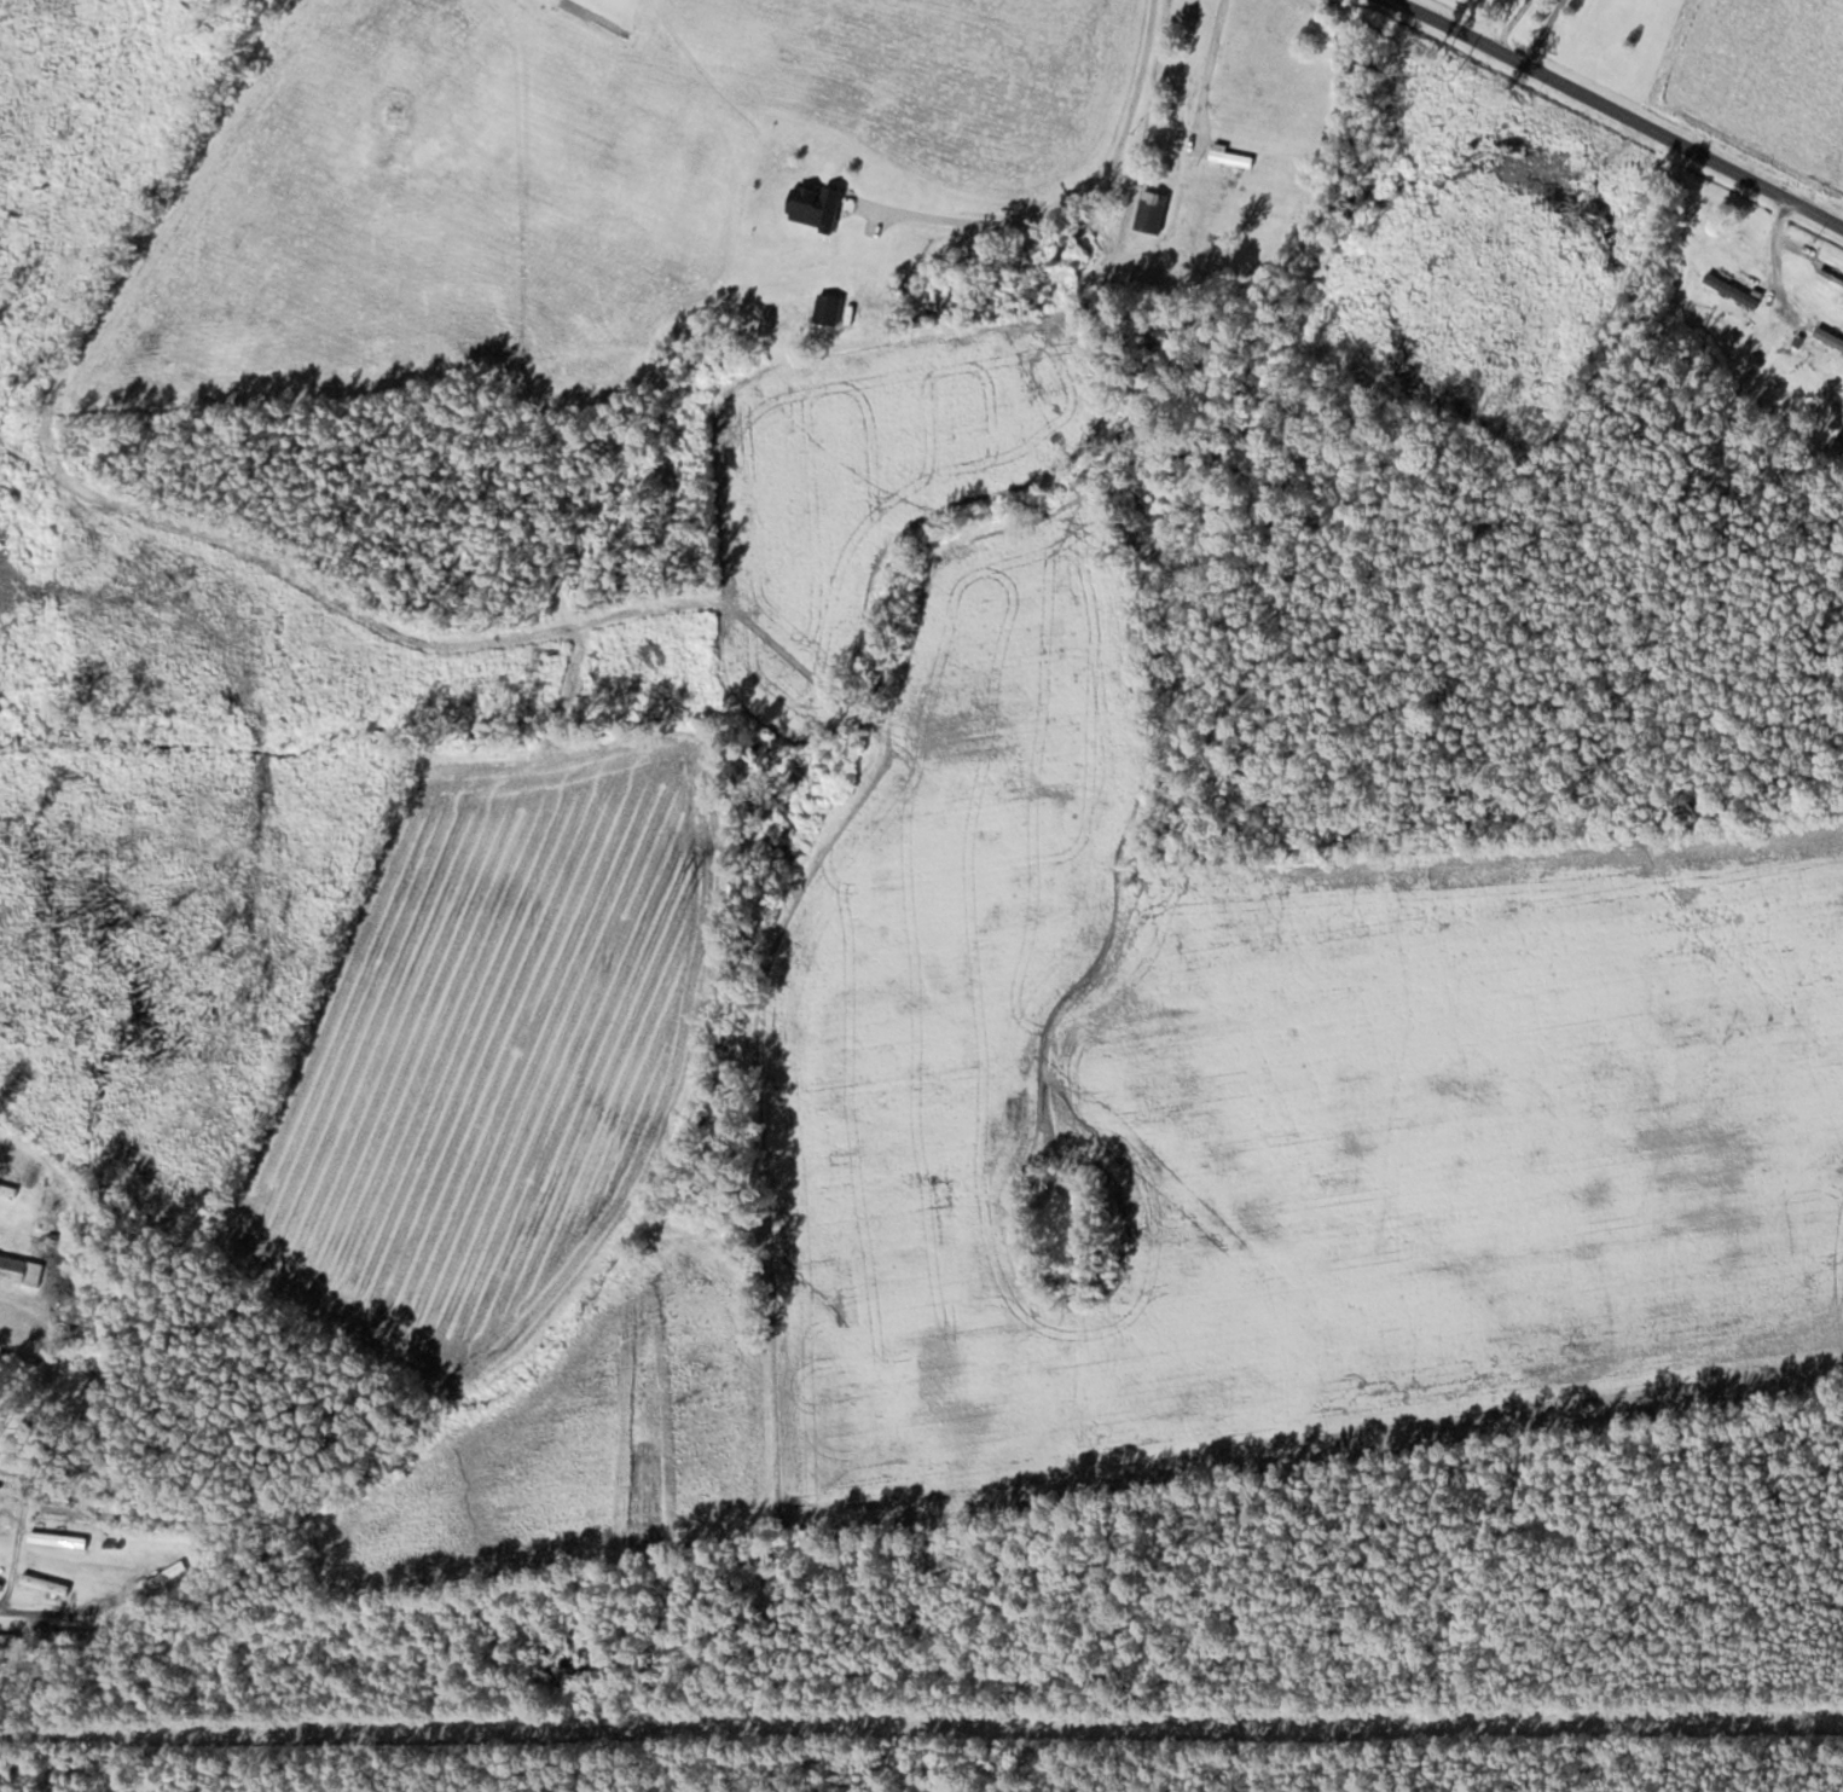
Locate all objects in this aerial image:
building: (398, 76)
road: (1628, 106)
building: (395, 112)
building: (386, 143)
building: (1229, 156)
building: (1152, 210)
building: (1831, 278)
building: (1830, 337)
building: (19, 1269)
building: (2, 1370)
building: (92, 1409)
building: (166, 1574)
building: (45, 1583)
building: (0, 1585)
building: (8, 1646)

